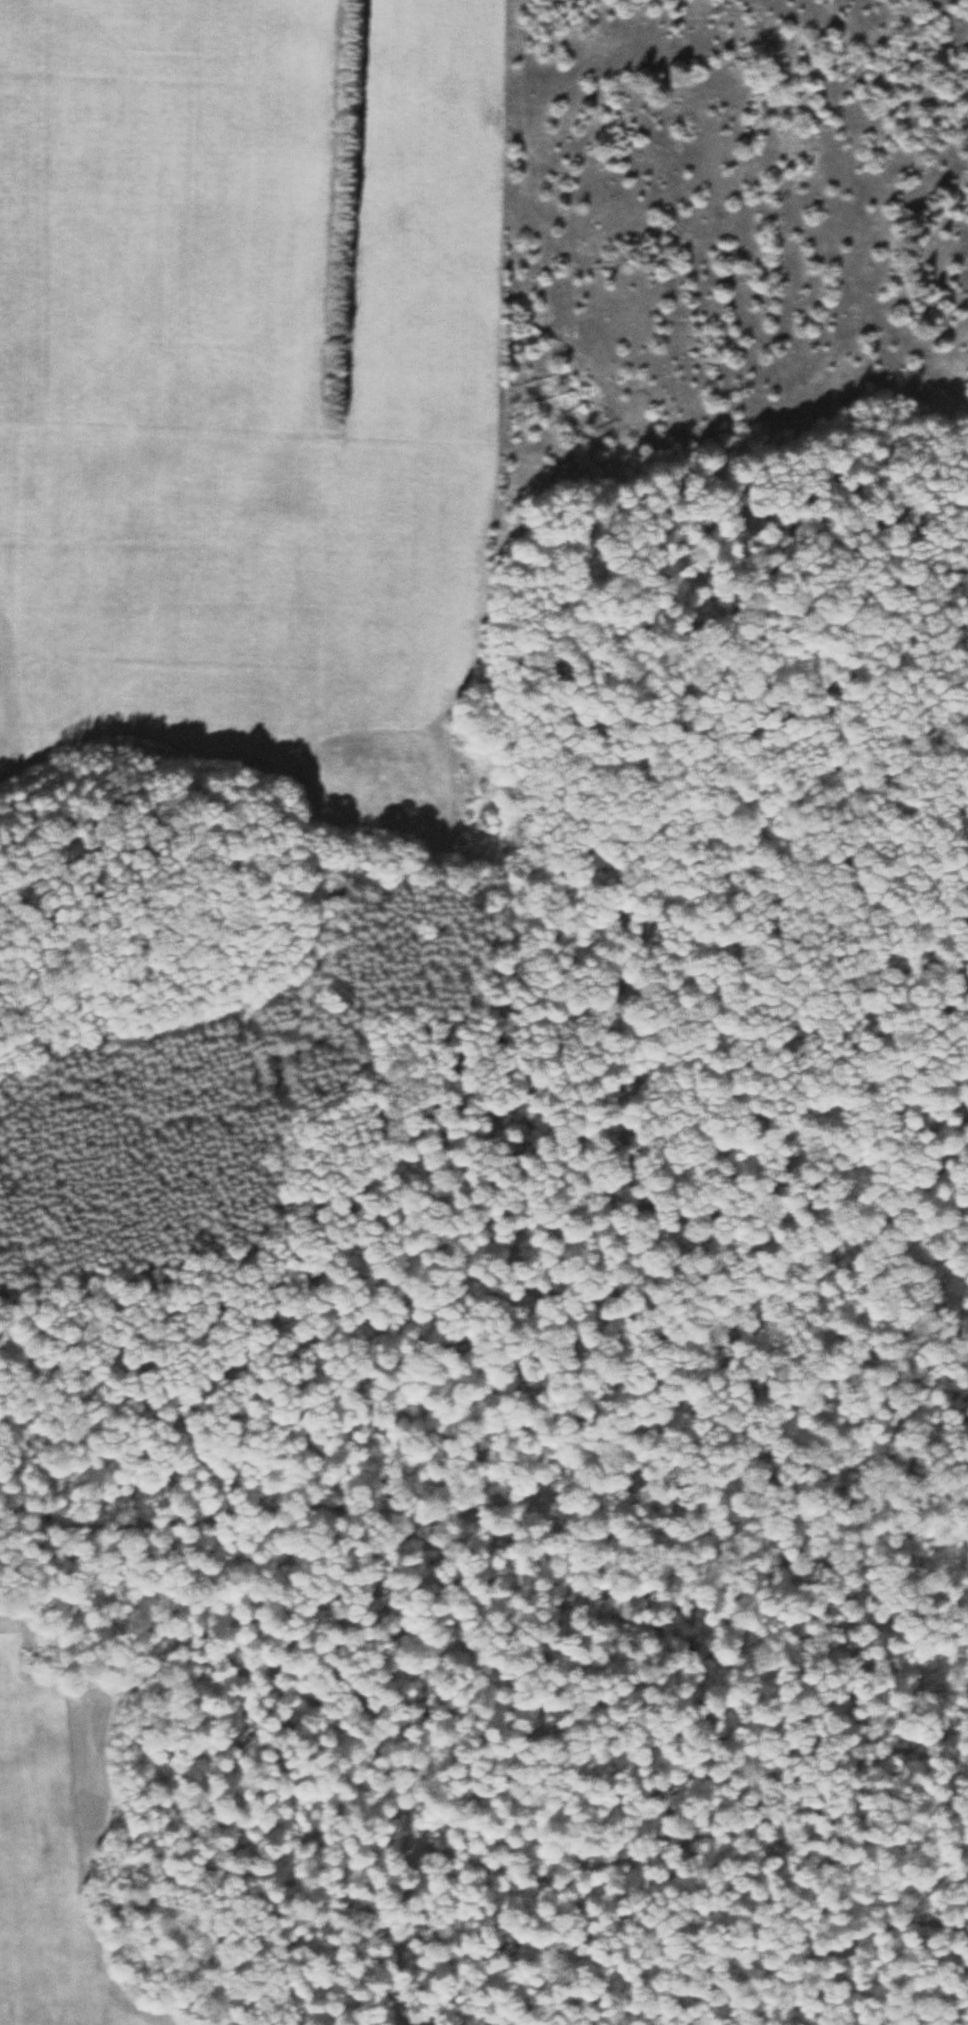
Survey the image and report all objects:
road: (557, 1480)

